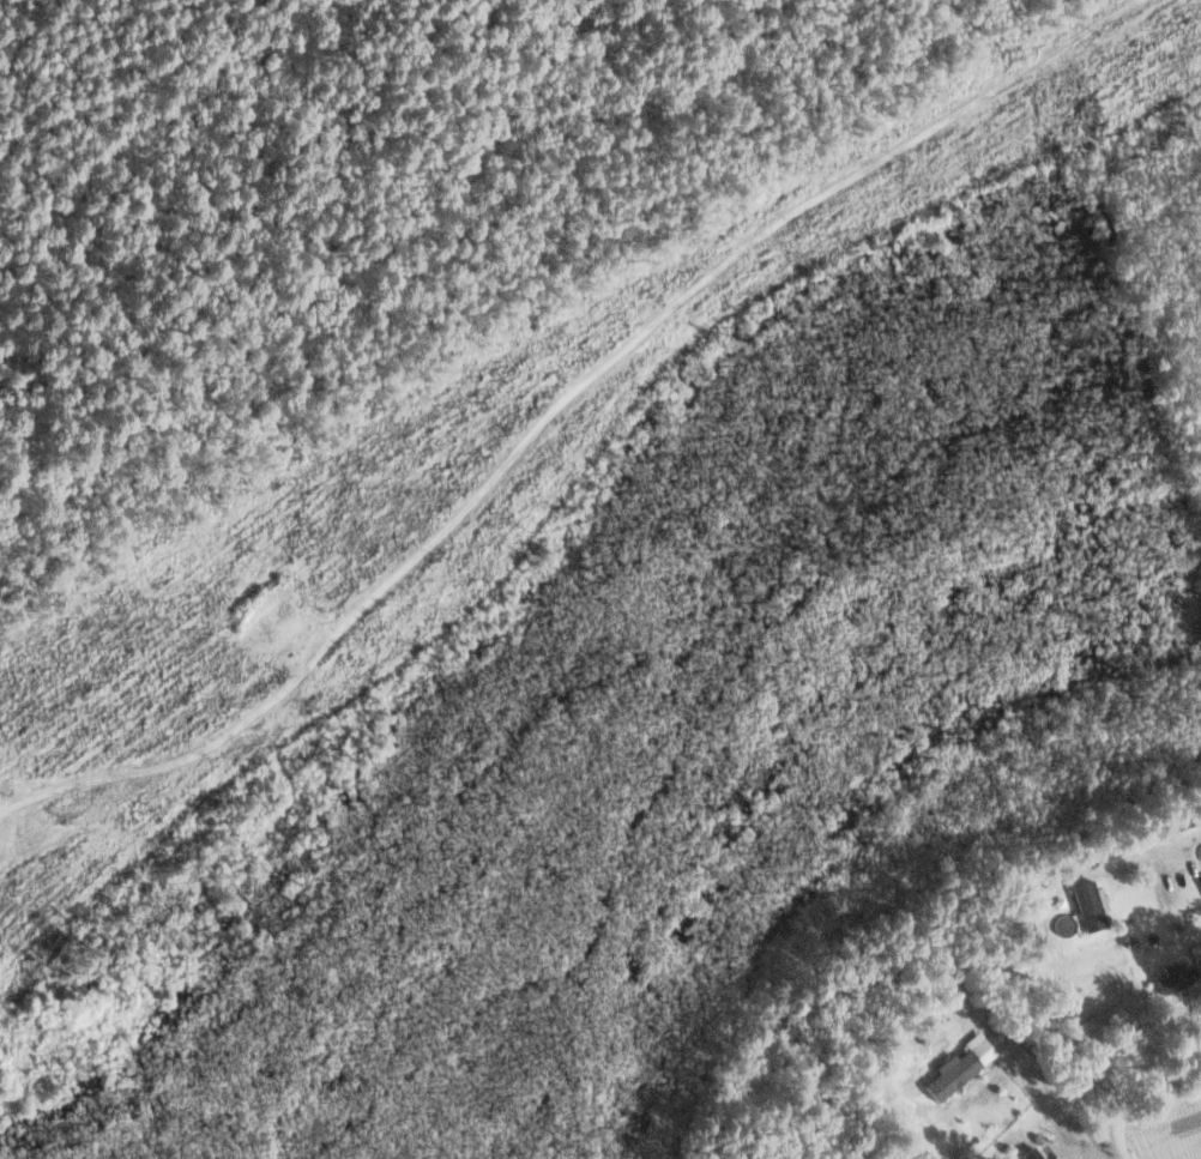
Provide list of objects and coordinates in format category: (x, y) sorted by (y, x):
road: (927, 128)
building: (1087, 906)
building: (1171, 980)
building: (1099, 1019)
building: (956, 1069)
road: (1136, 1103)
building: (1031, 1154)

